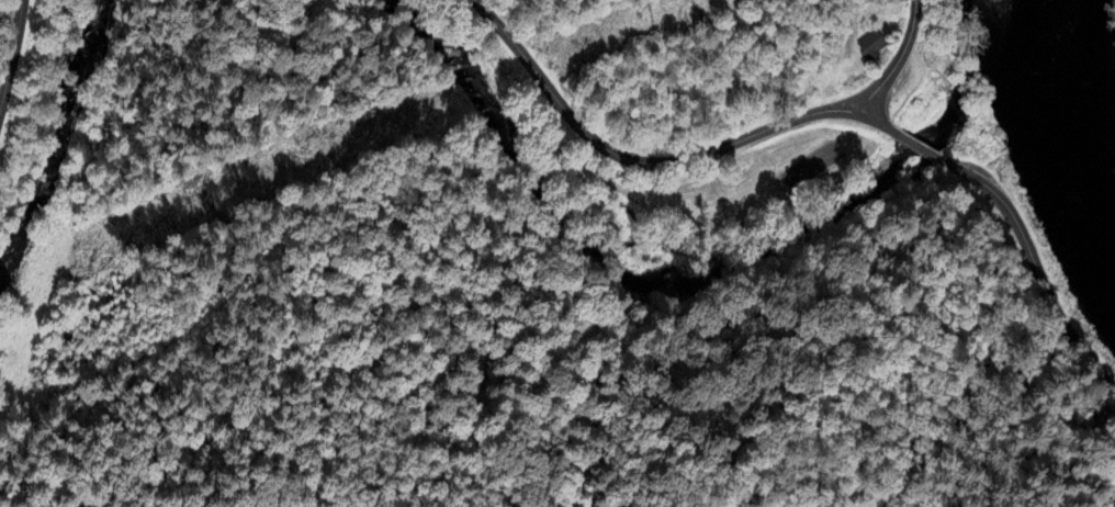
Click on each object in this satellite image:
building: (872, 45)
road: (12, 53)
road: (897, 59)
river: (1054, 115)
road: (880, 124)
road: (920, 148)
road: (637, 160)
road: (1033, 270)

